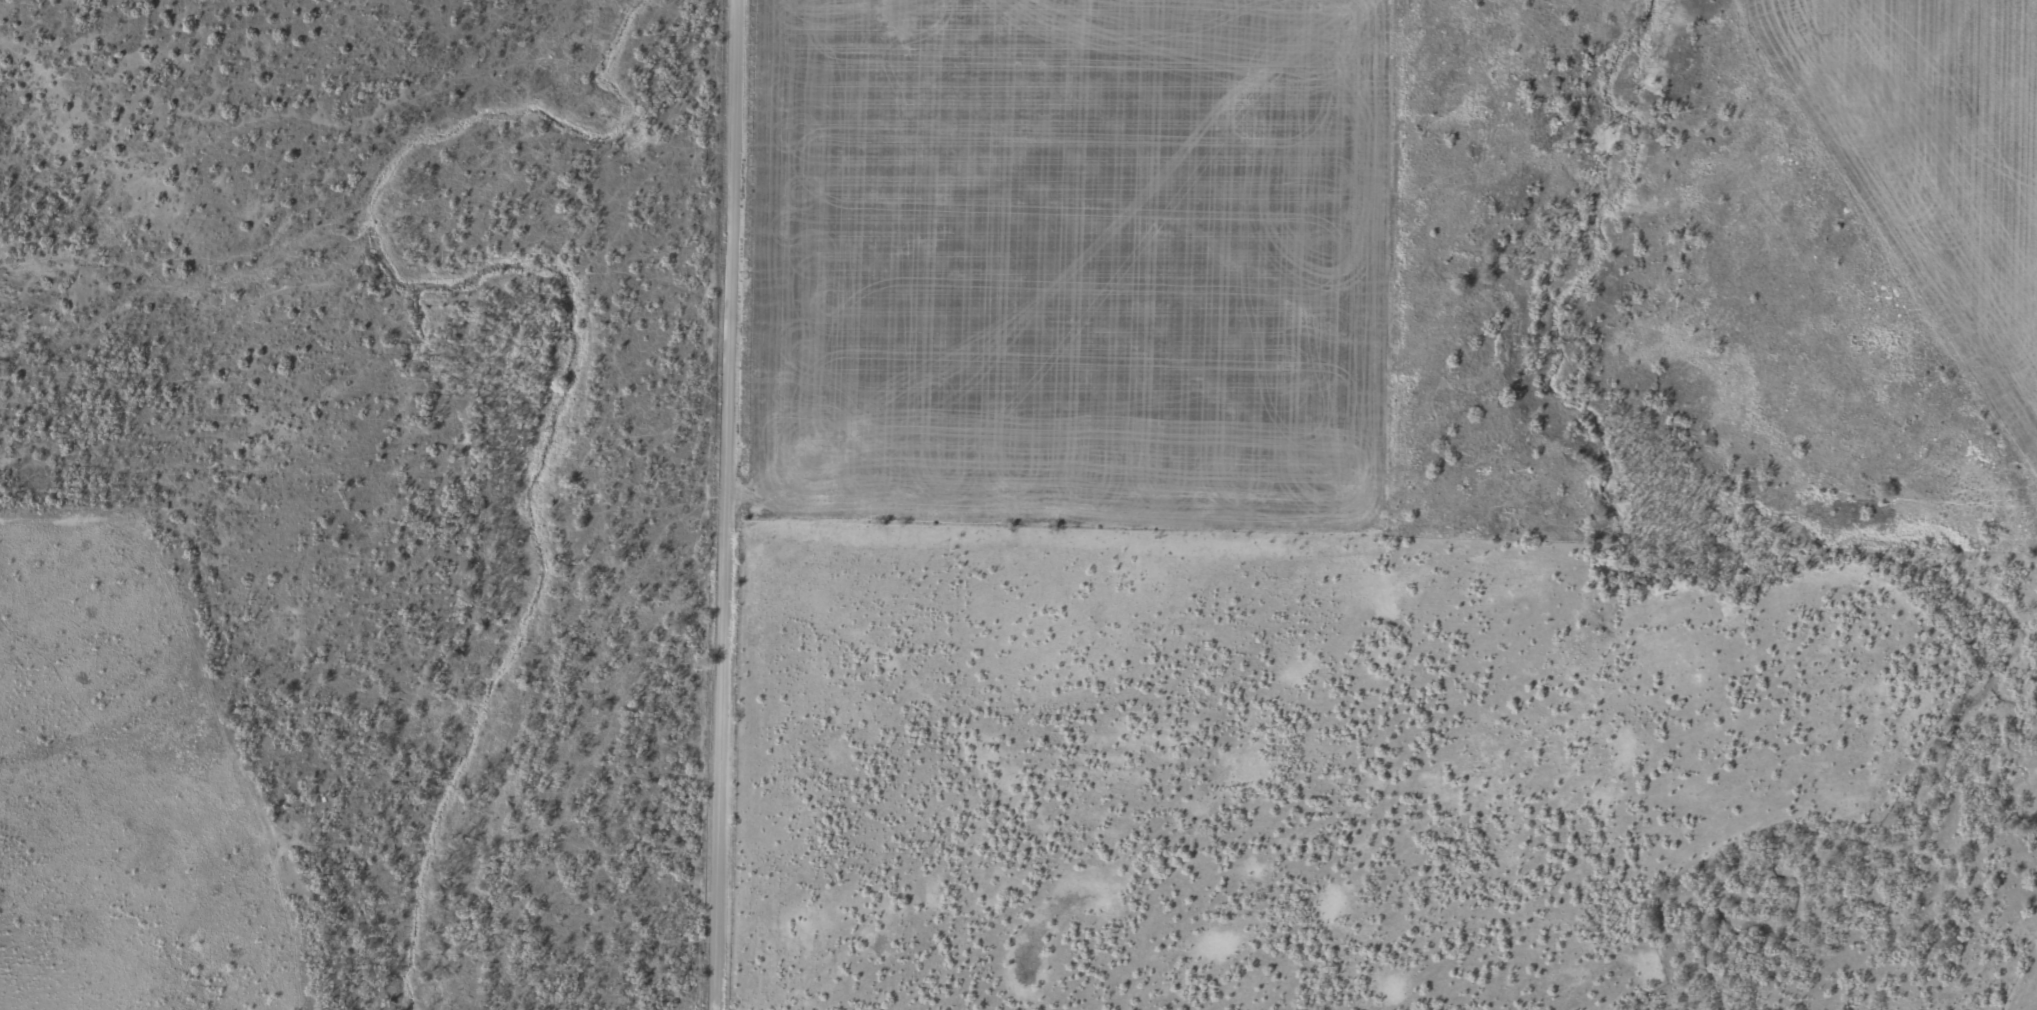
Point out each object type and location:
road: (727, 505)

